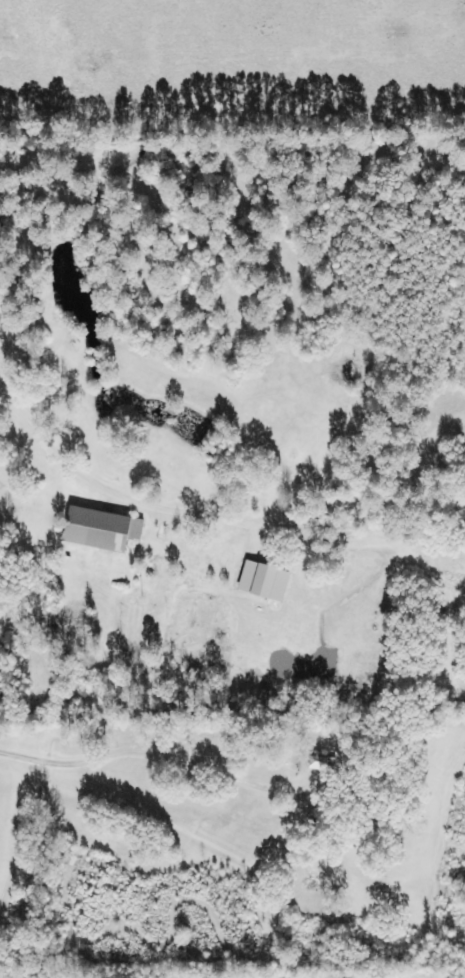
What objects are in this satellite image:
building: (103, 530)
road: (116, 600)
road: (235, 774)

